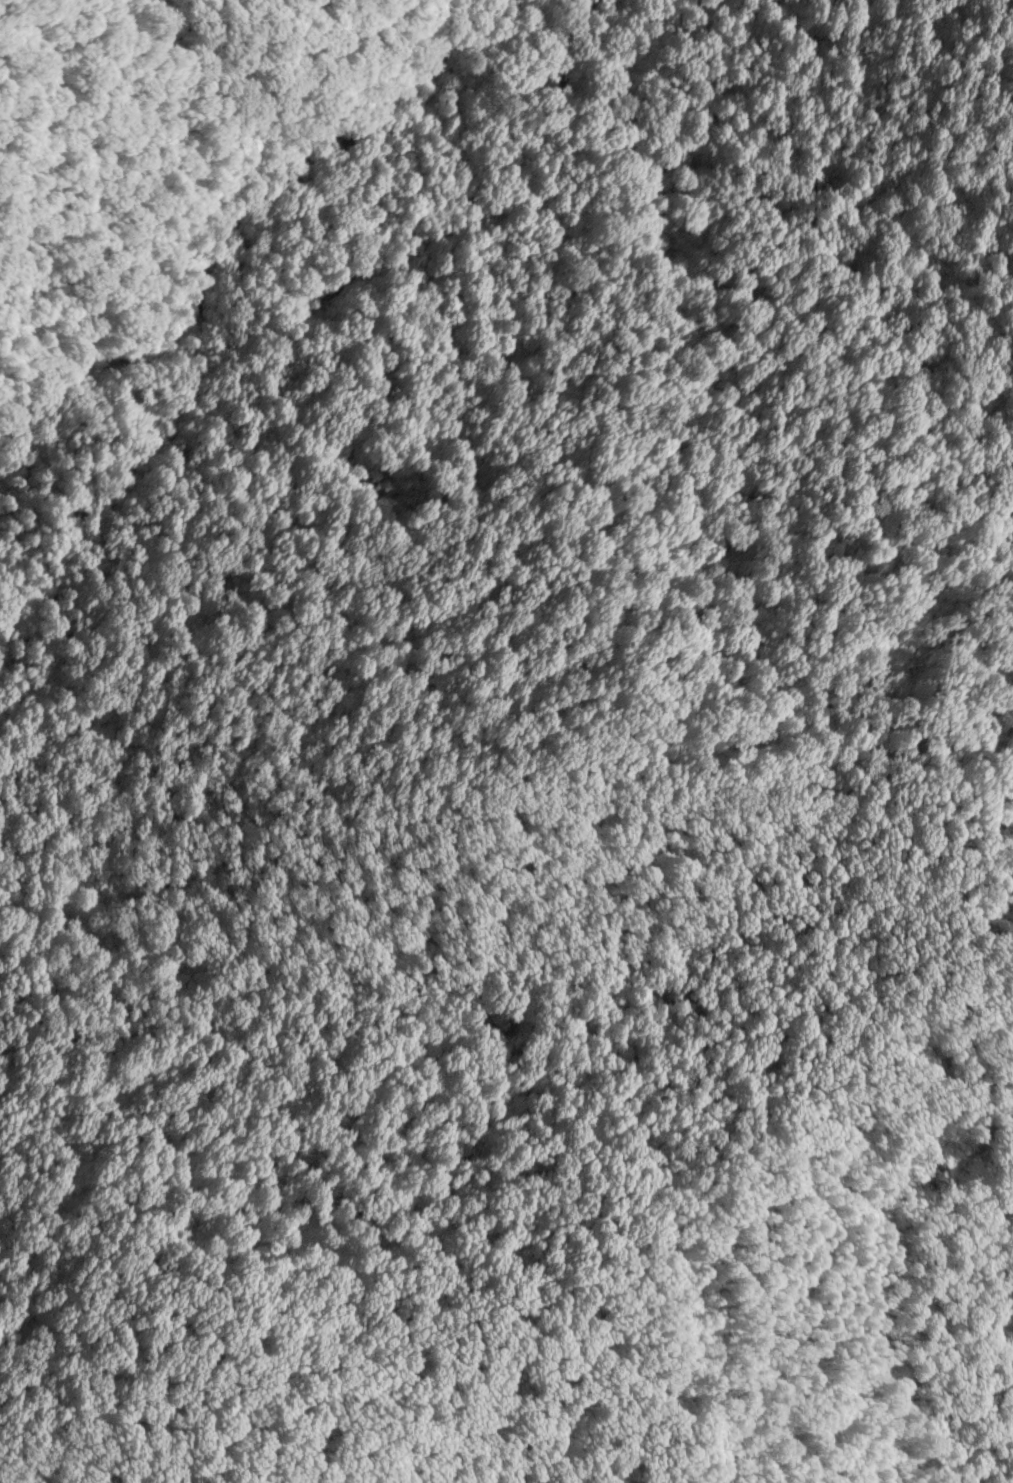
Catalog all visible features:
road: (183, 174)

